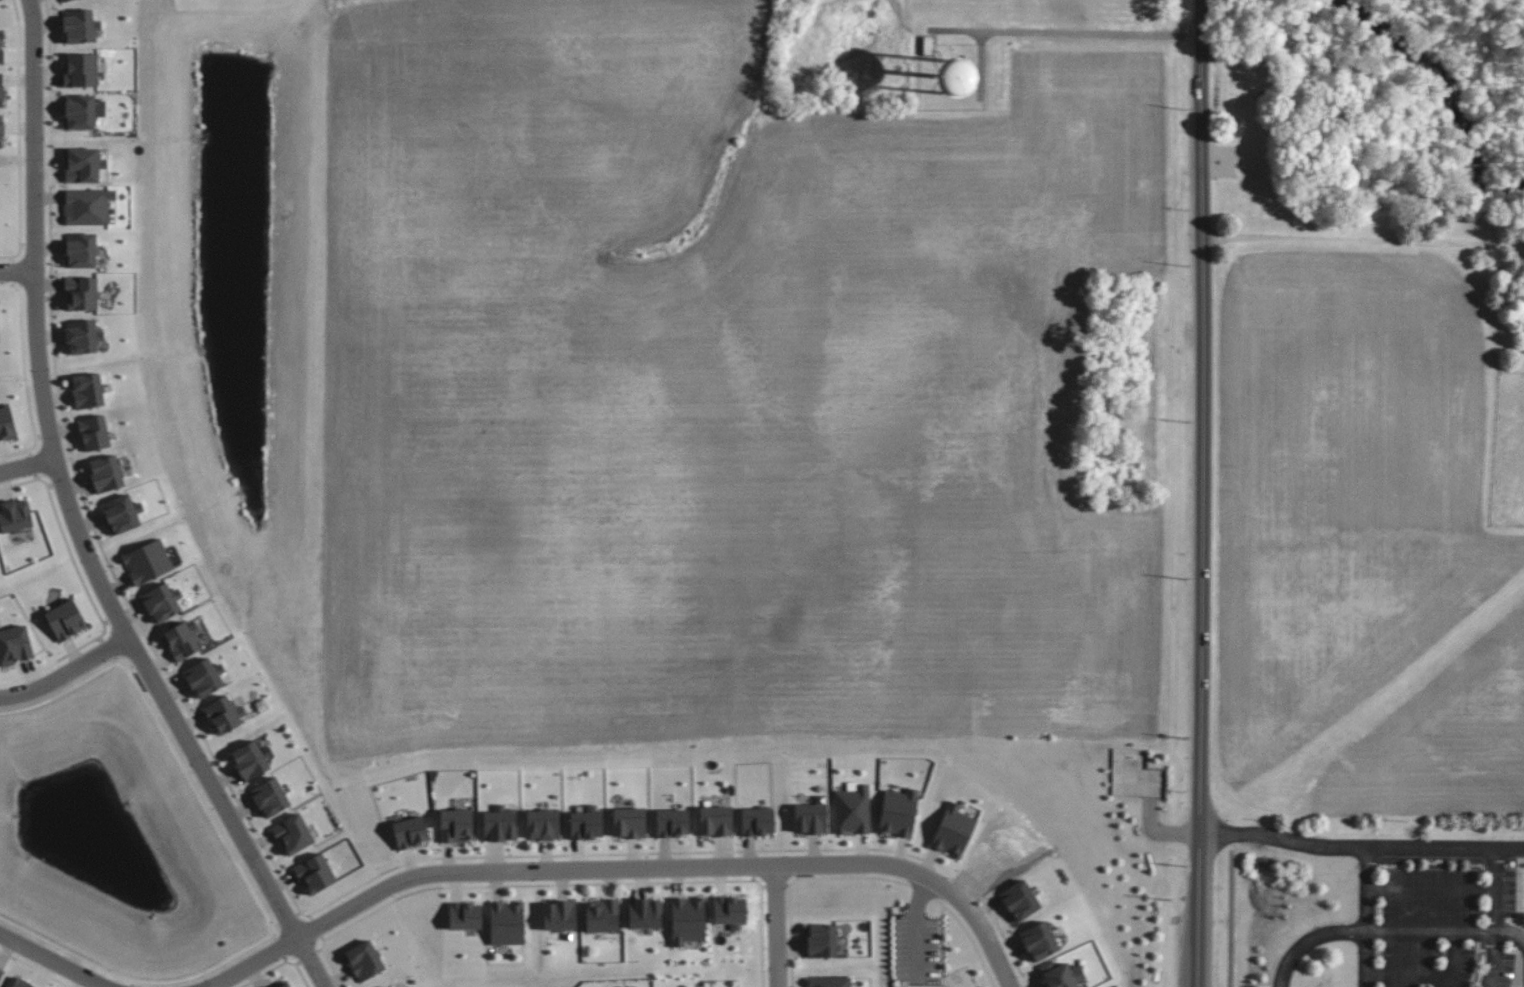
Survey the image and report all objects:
building: (64, 0)
building: (80, 26)
road: (1073, 32)
building: (1, 47)
building: (81, 70)
building: (953, 78)
building: (1, 90)
water tower: (946, 92)
building: (80, 112)
building: (1, 131)
building: (84, 165)
building: (88, 206)
road: (1364, 241)
building: (81, 250)
road: (13, 270)
building: (81, 293)
building: (83, 337)
building: (88, 390)
building: (7, 424)
building: (94, 433)
road: (25, 463)
building: (106, 473)
road: (1201, 493)
building: (122, 514)
building: (15, 516)
road: (76, 522)
building: (147, 561)
building: (162, 602)
building: (66, 620)
building: (182, 640)
building: (15, 645)
road: (64, 674)
building: (205, 677)
building: (225, 714)
building: (250, 761)
building: (270, 797)
building: (852, 810)
building: (898, 812)
building: (810, 818)
building: (715, 821)
building: (757, 821)
building: (672, 822)
building: (629, 823)
building: (500, 824)
building: (456, 825)
building: (542, 825)
building: (586, 825)
building: (953, 830)
building: (410, 832)
building: (293, 834)
road: (1361, 848)
road: (622, 867)
building: (315, 874)
road: (1433, 890)
building: (730, 912)
building: (645, 913)
building: (465, 916)
building: (560, 916)
building: (602, 916)
road: (1232, 916)
road: (1368, 917)
road: (1497, 917)
building: (688, 920)
building: (507, 923)
road: (773, 925)
road: (1376, 931)
road: (1510, 933)
building: (822, 940)
building: (1039, 941)
road: (1456, 960)
building: (364, 961)
road: (53, 962)
building: (1, 972)
building: (1060, 975)
building: (830, 982)
building: (18, 983)
building: (285, 985)

